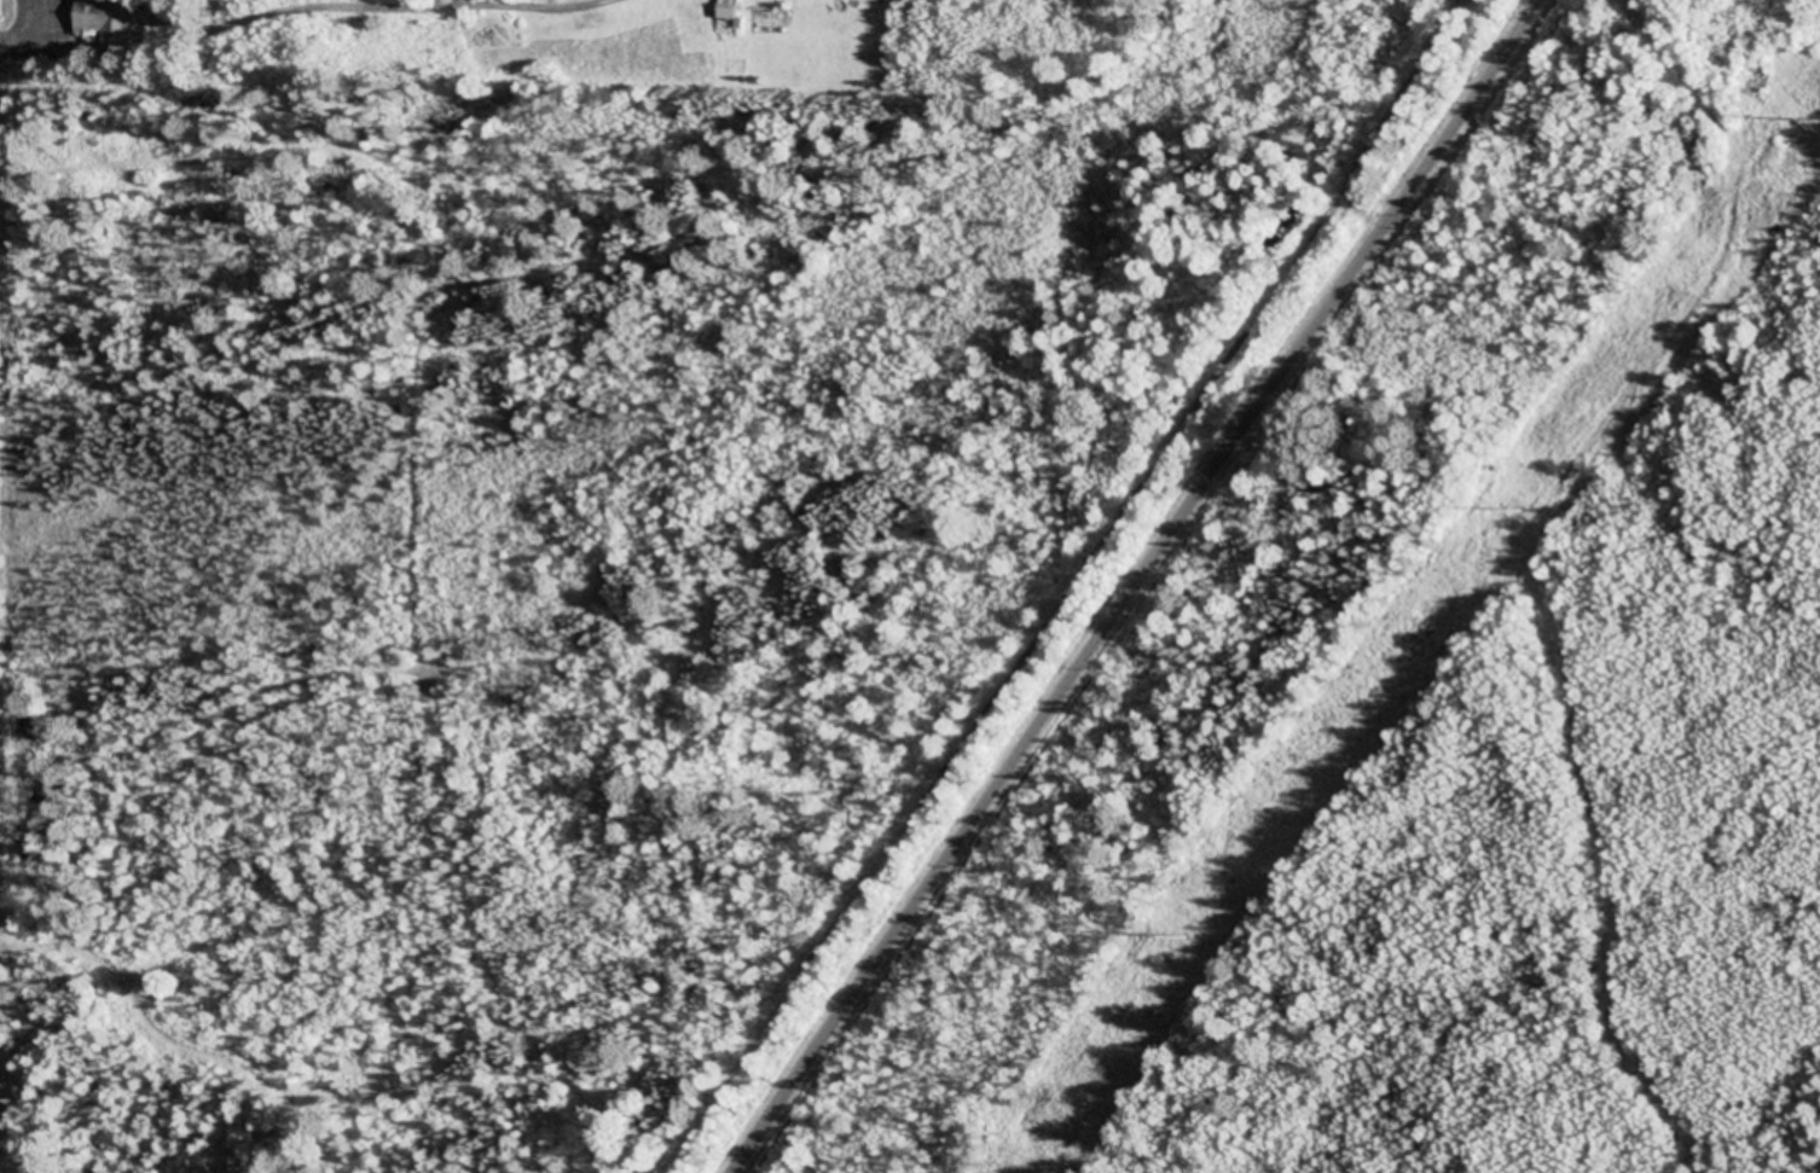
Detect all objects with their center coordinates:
building: (730, 13)
building: (105, 17)
power tower: (1519, 513)
road: (1135, 587)
power tower: (1183, 939)

